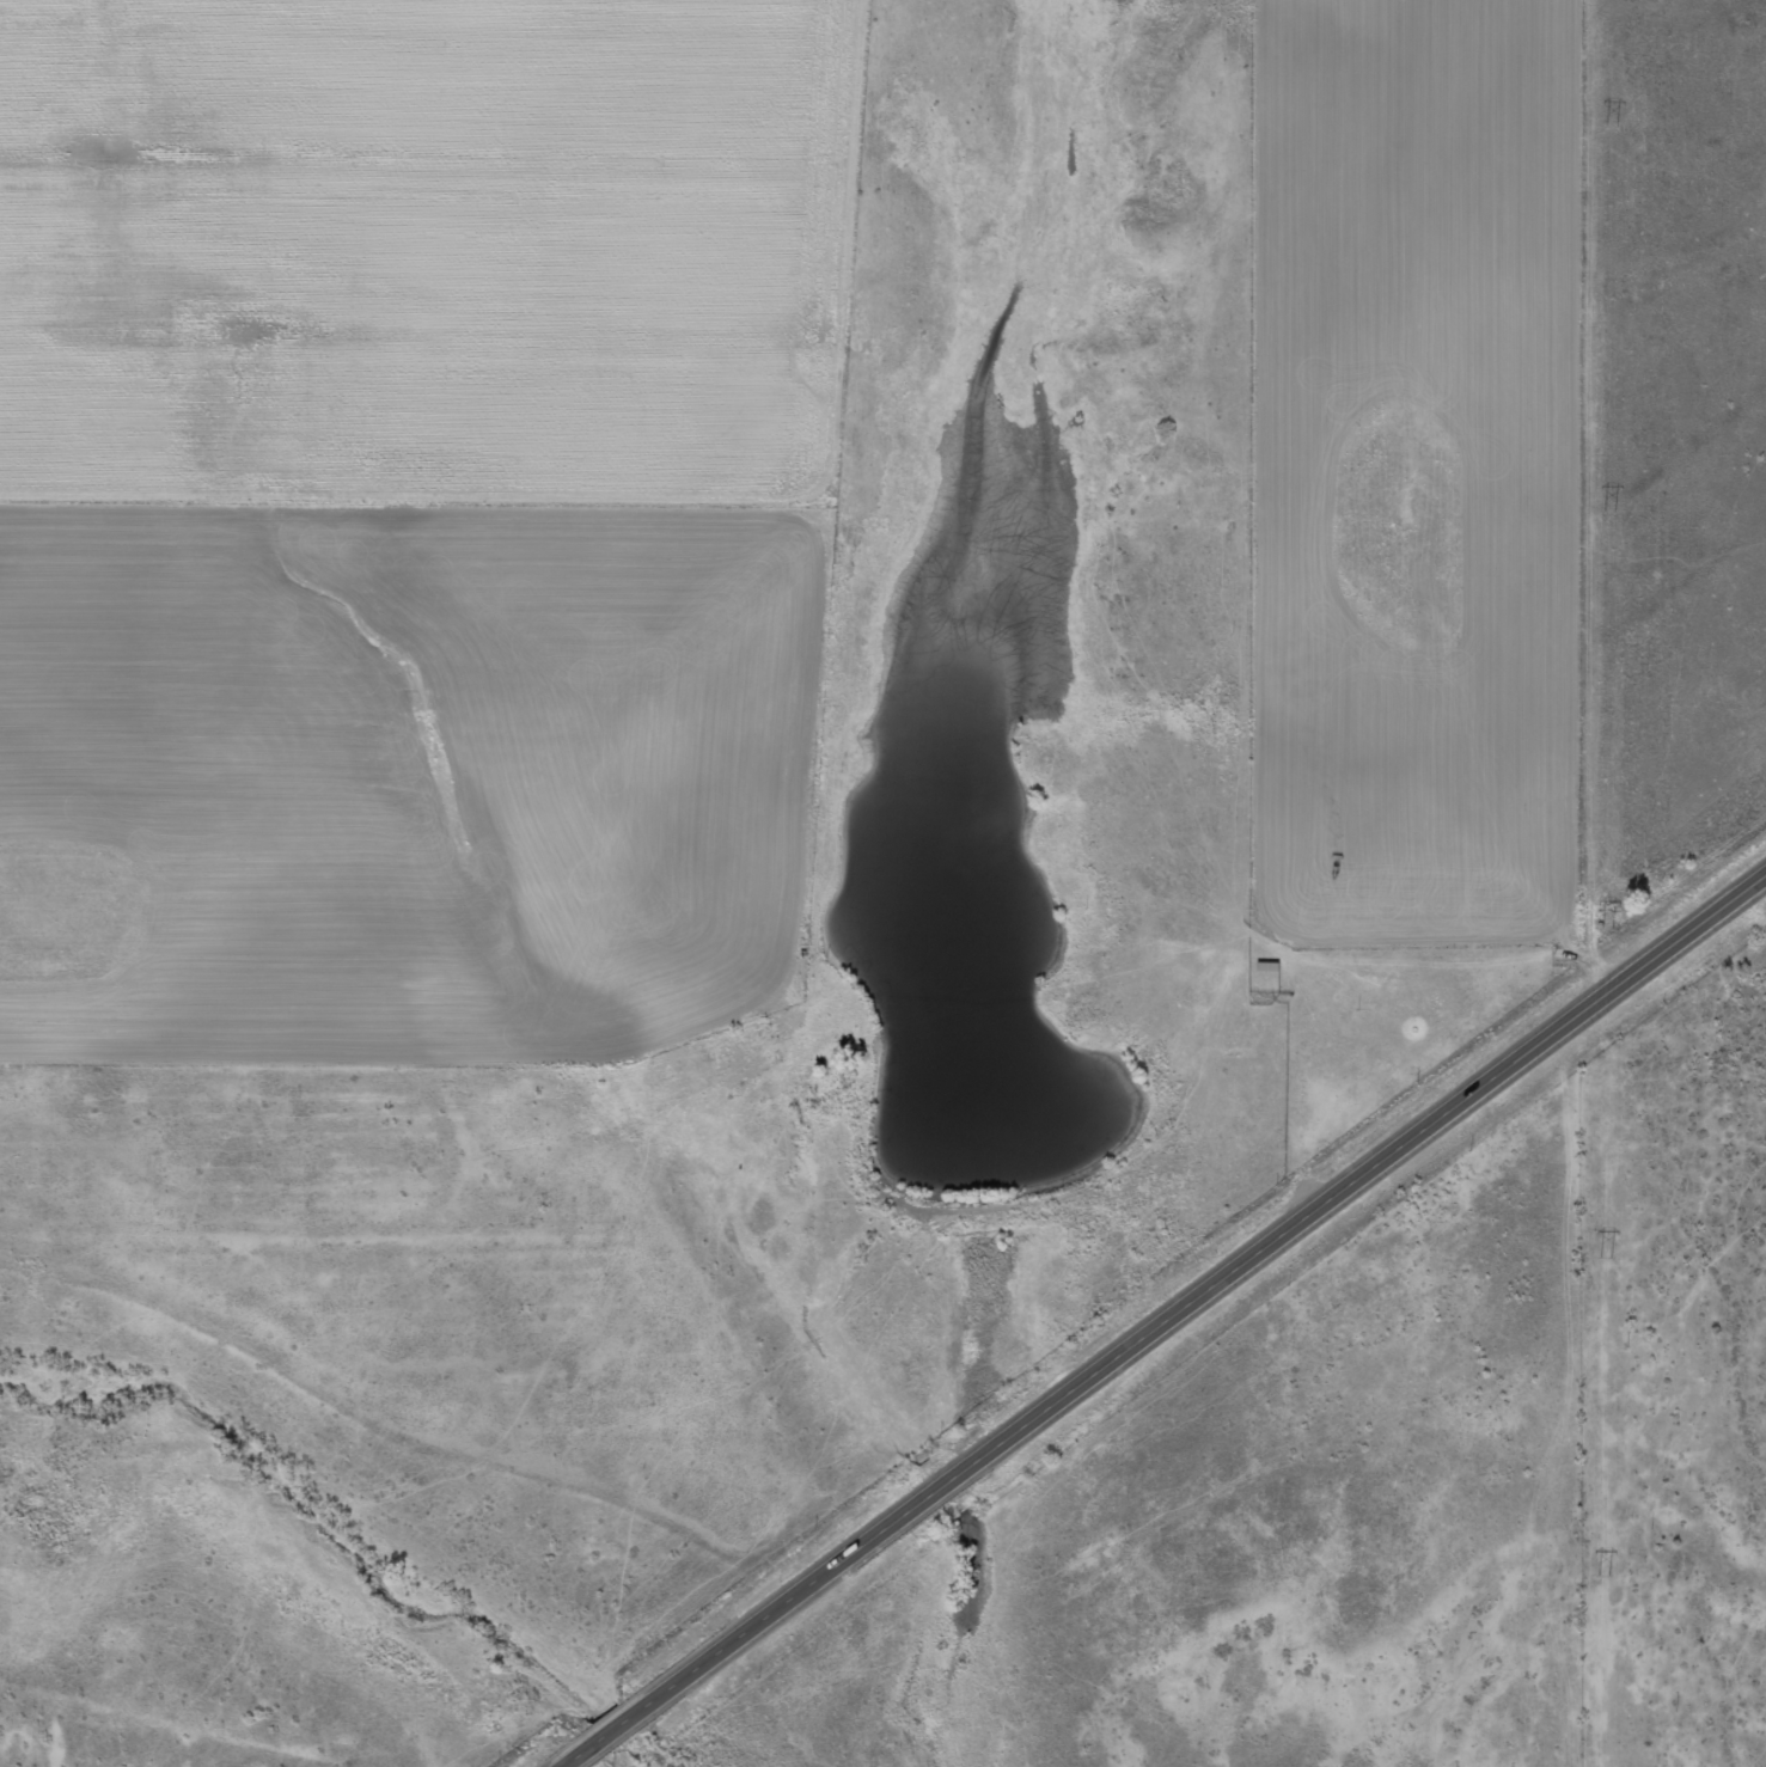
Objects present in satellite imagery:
power tower: (1612, 129)
power tower: (1609, 515)
power tower: (1606, 933)
road: (692, 1231)
power tower: (1605, 1258)
road: (1169, 1323)
power tower: (1602, 1576)

